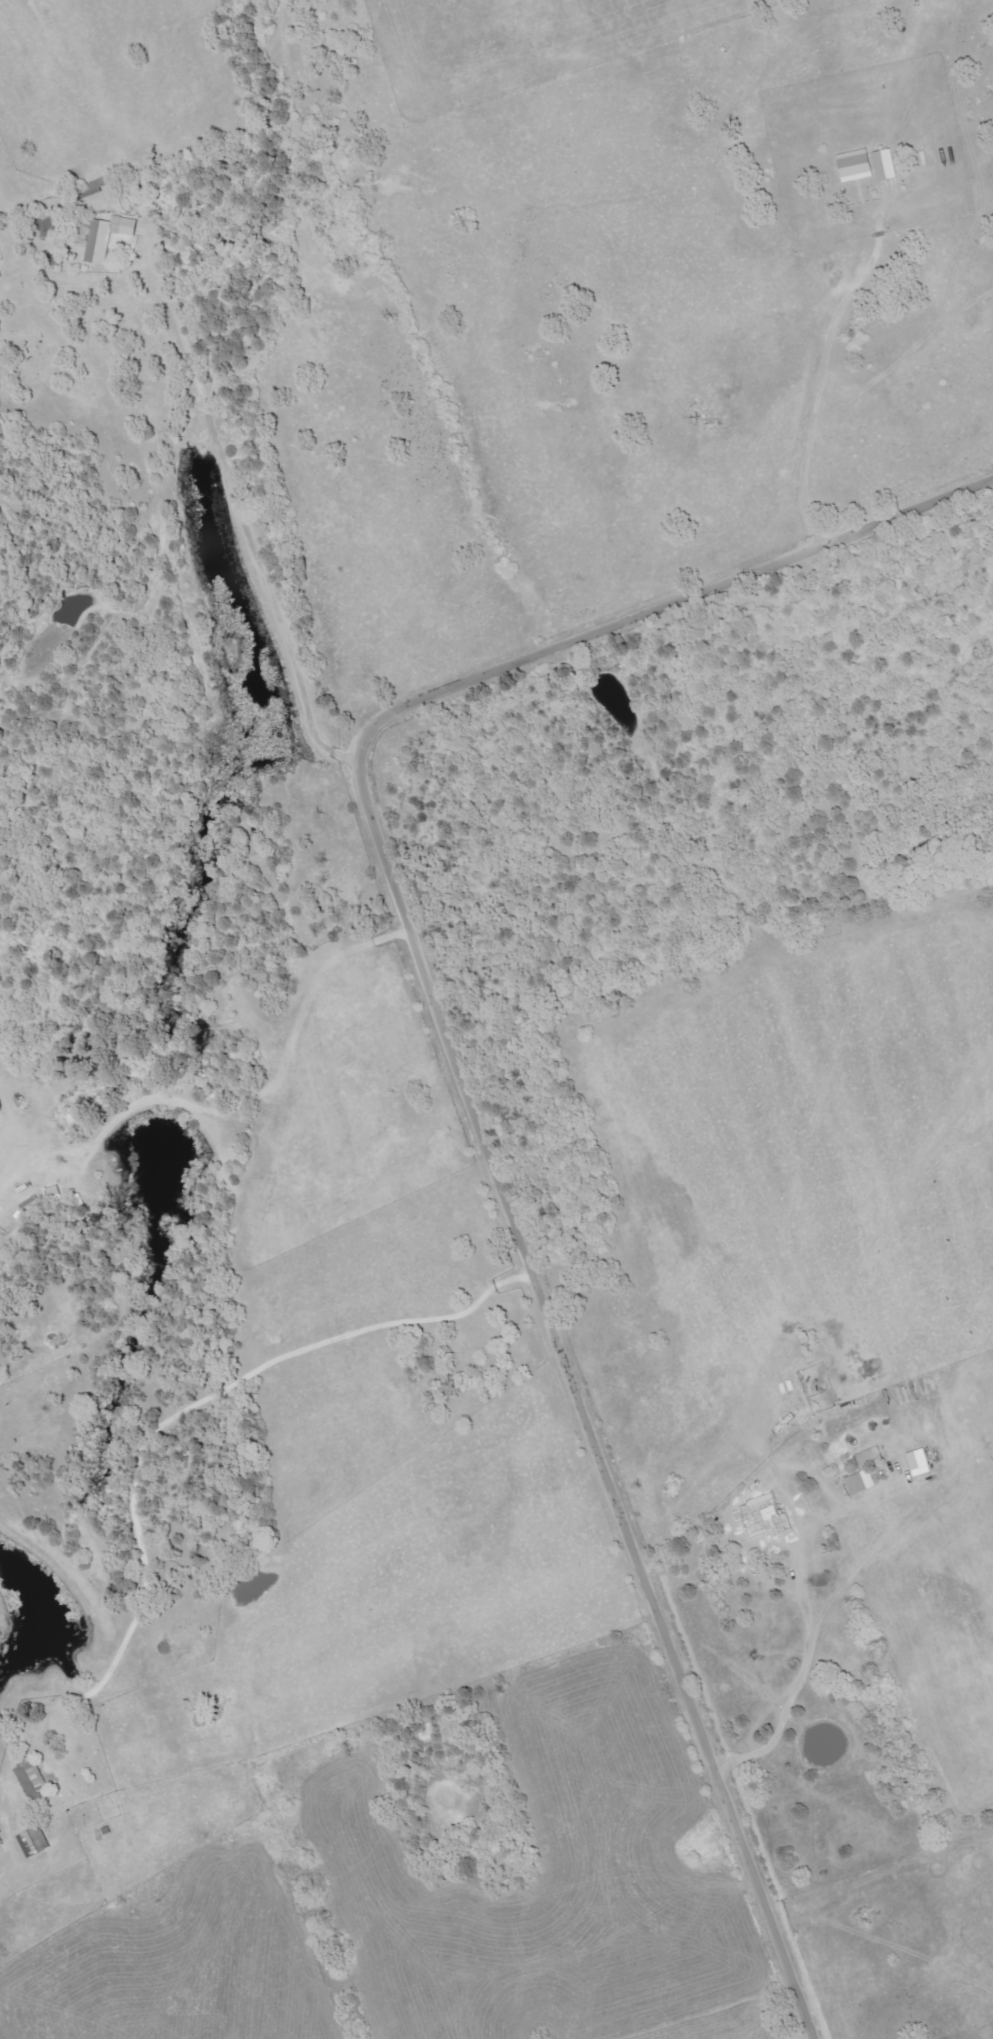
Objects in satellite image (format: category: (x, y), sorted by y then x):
building: (886, 163)
building: (856, 164)
building: (107, 235)
road: (111, 373)
road: (814, 398)
road: (234, 501)
road: (659, 606)
road: (343, 758)
road: (228, 1110)
road: (577, 1404)
building: (838, 1454)
road: (320, 1455)
building: (920, 1461)
building: (860, 1482)
building: (33, 1780)
building: (34, 1841)
road: (491, 1919)
road: (188, 1951)

